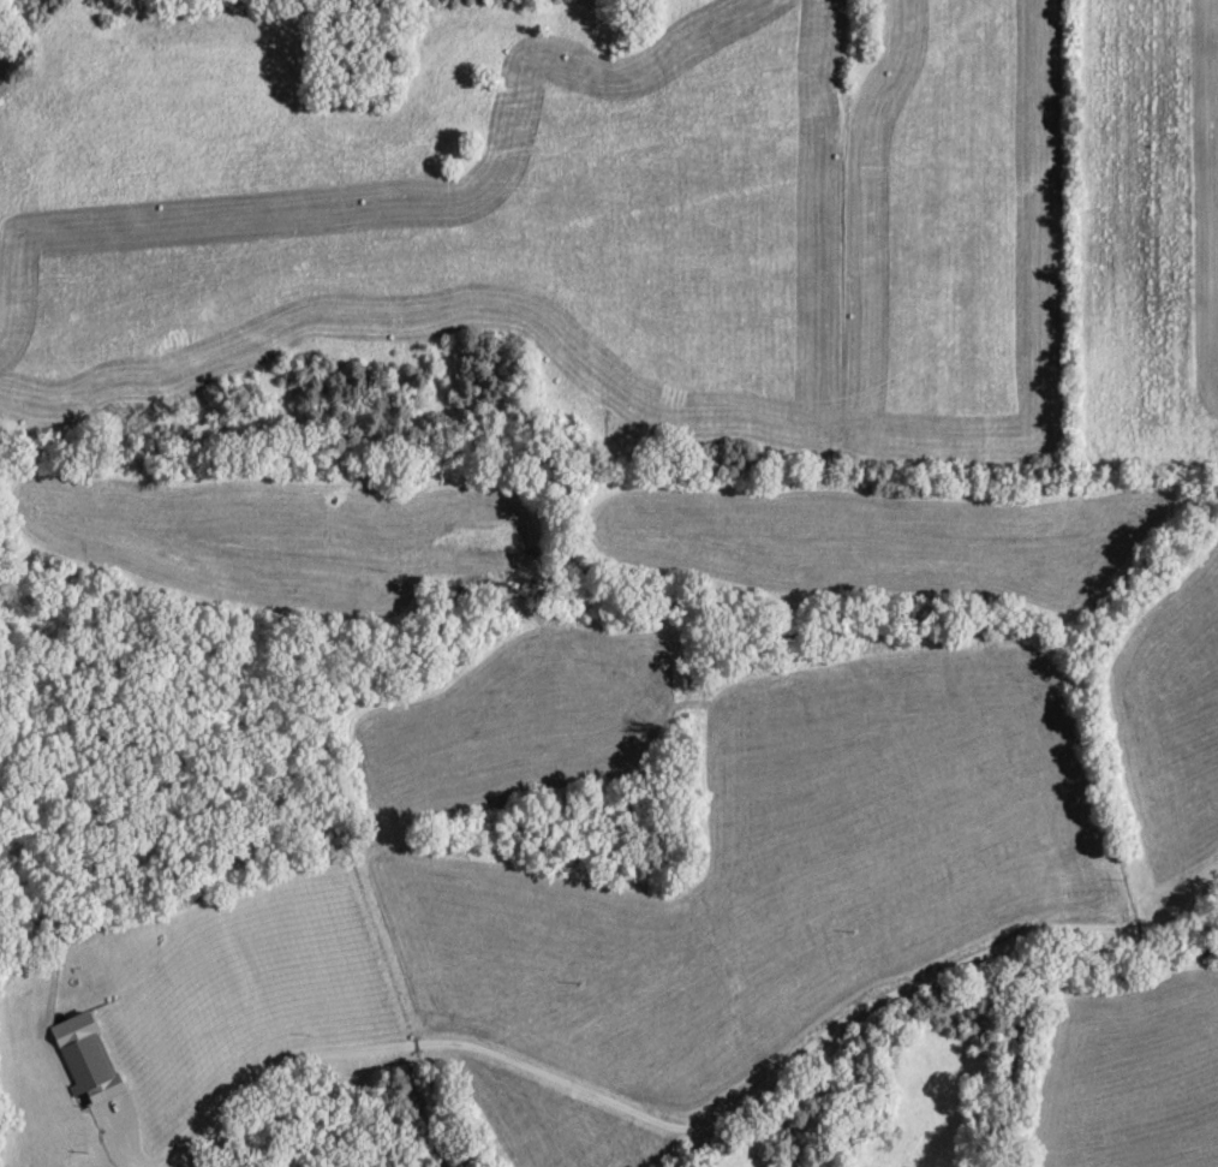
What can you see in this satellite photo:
building: (84, 1066)
road: (694, 1129)

